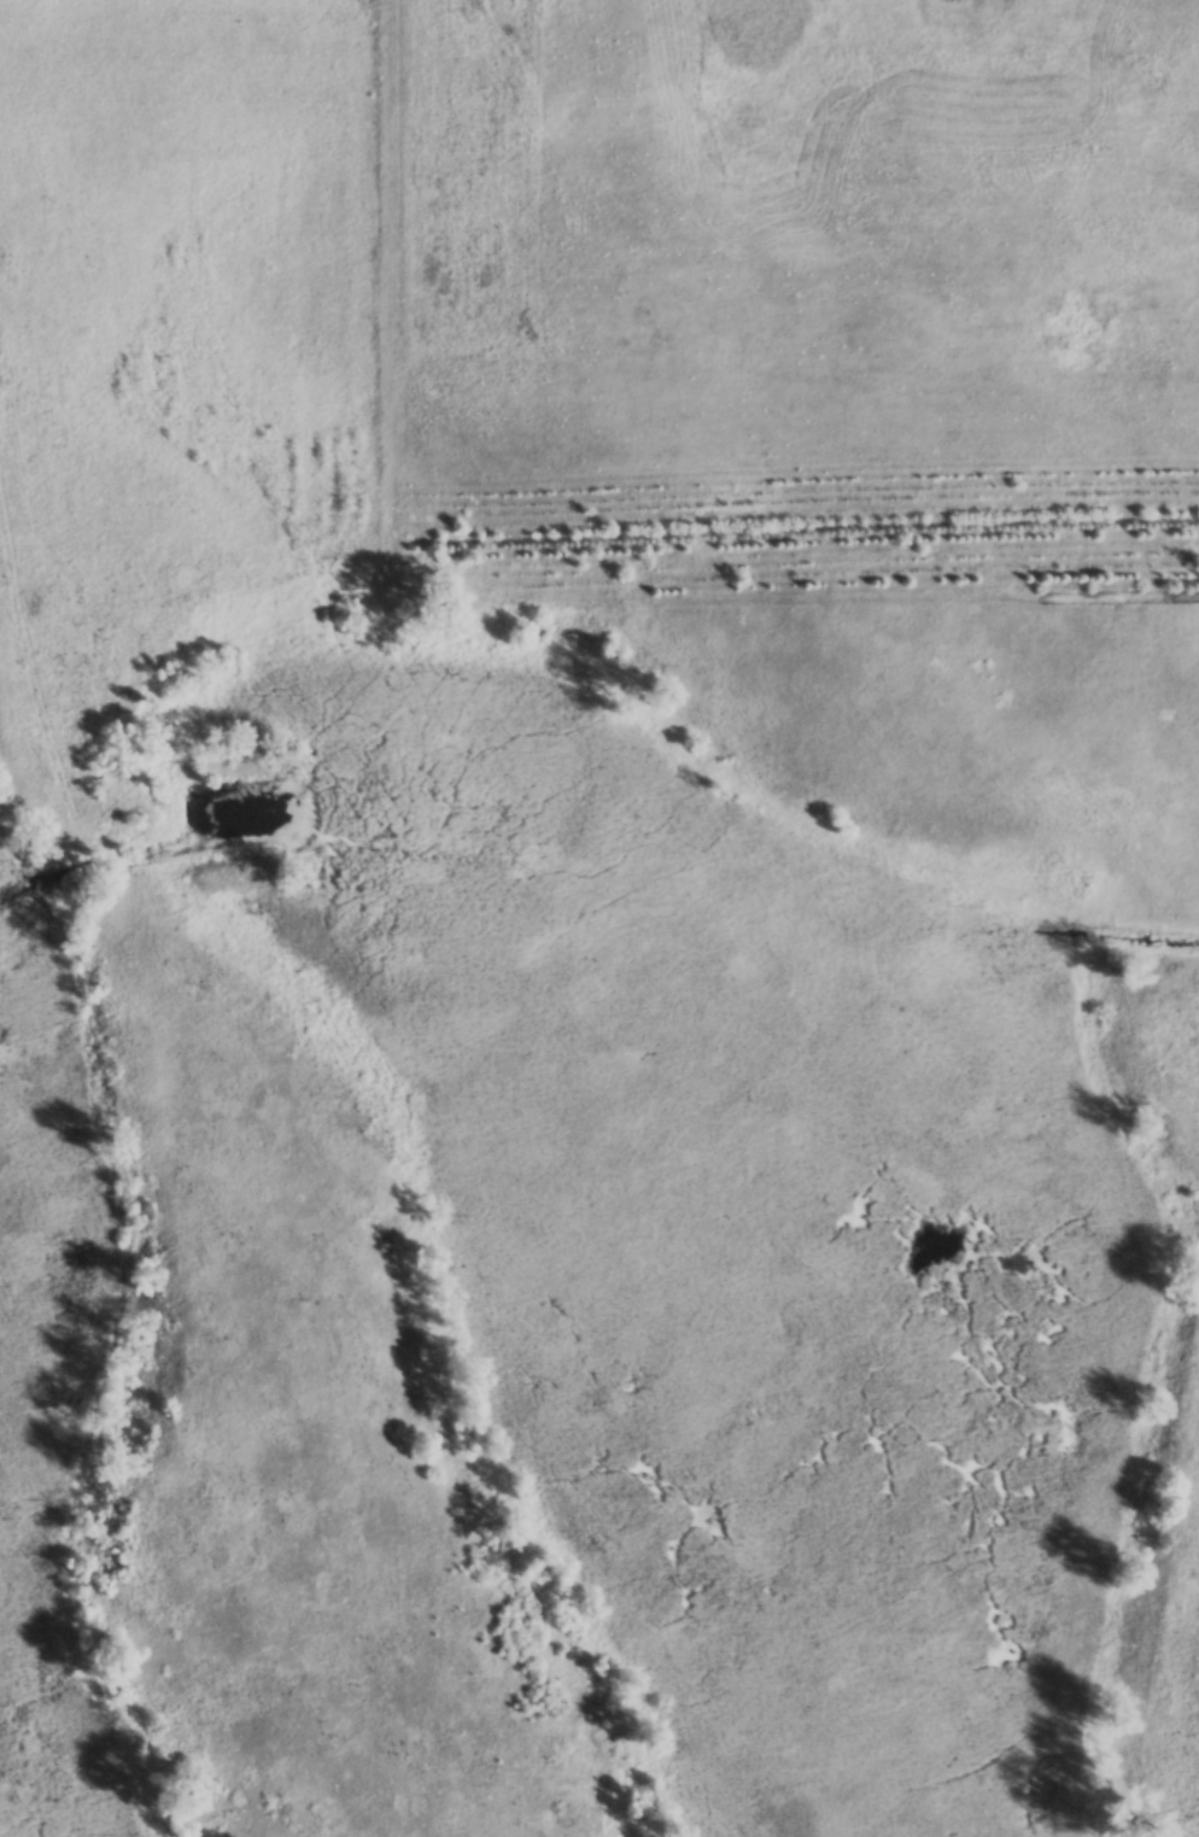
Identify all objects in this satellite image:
river: (899, 965)

